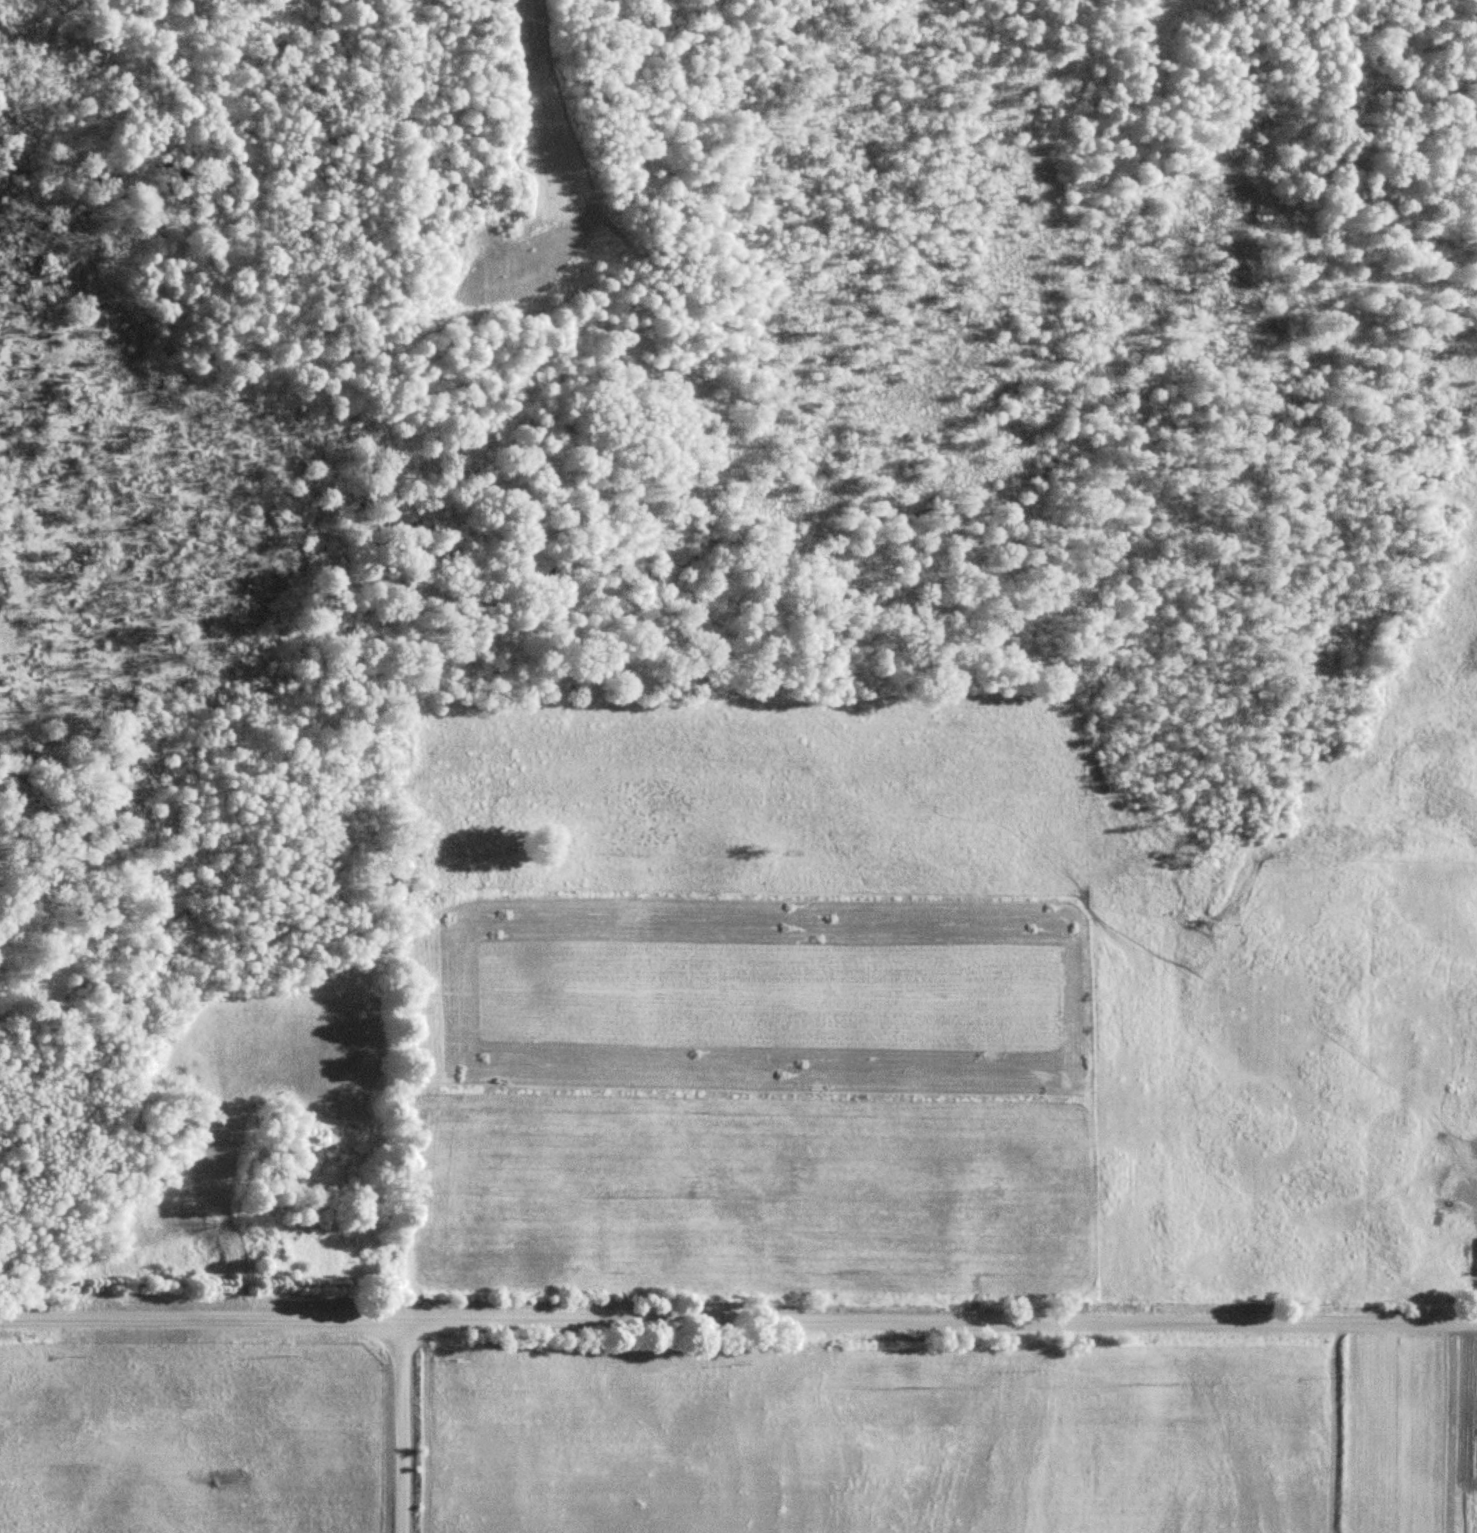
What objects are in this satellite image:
road: (738, 1295)
road: (396, 1413)

